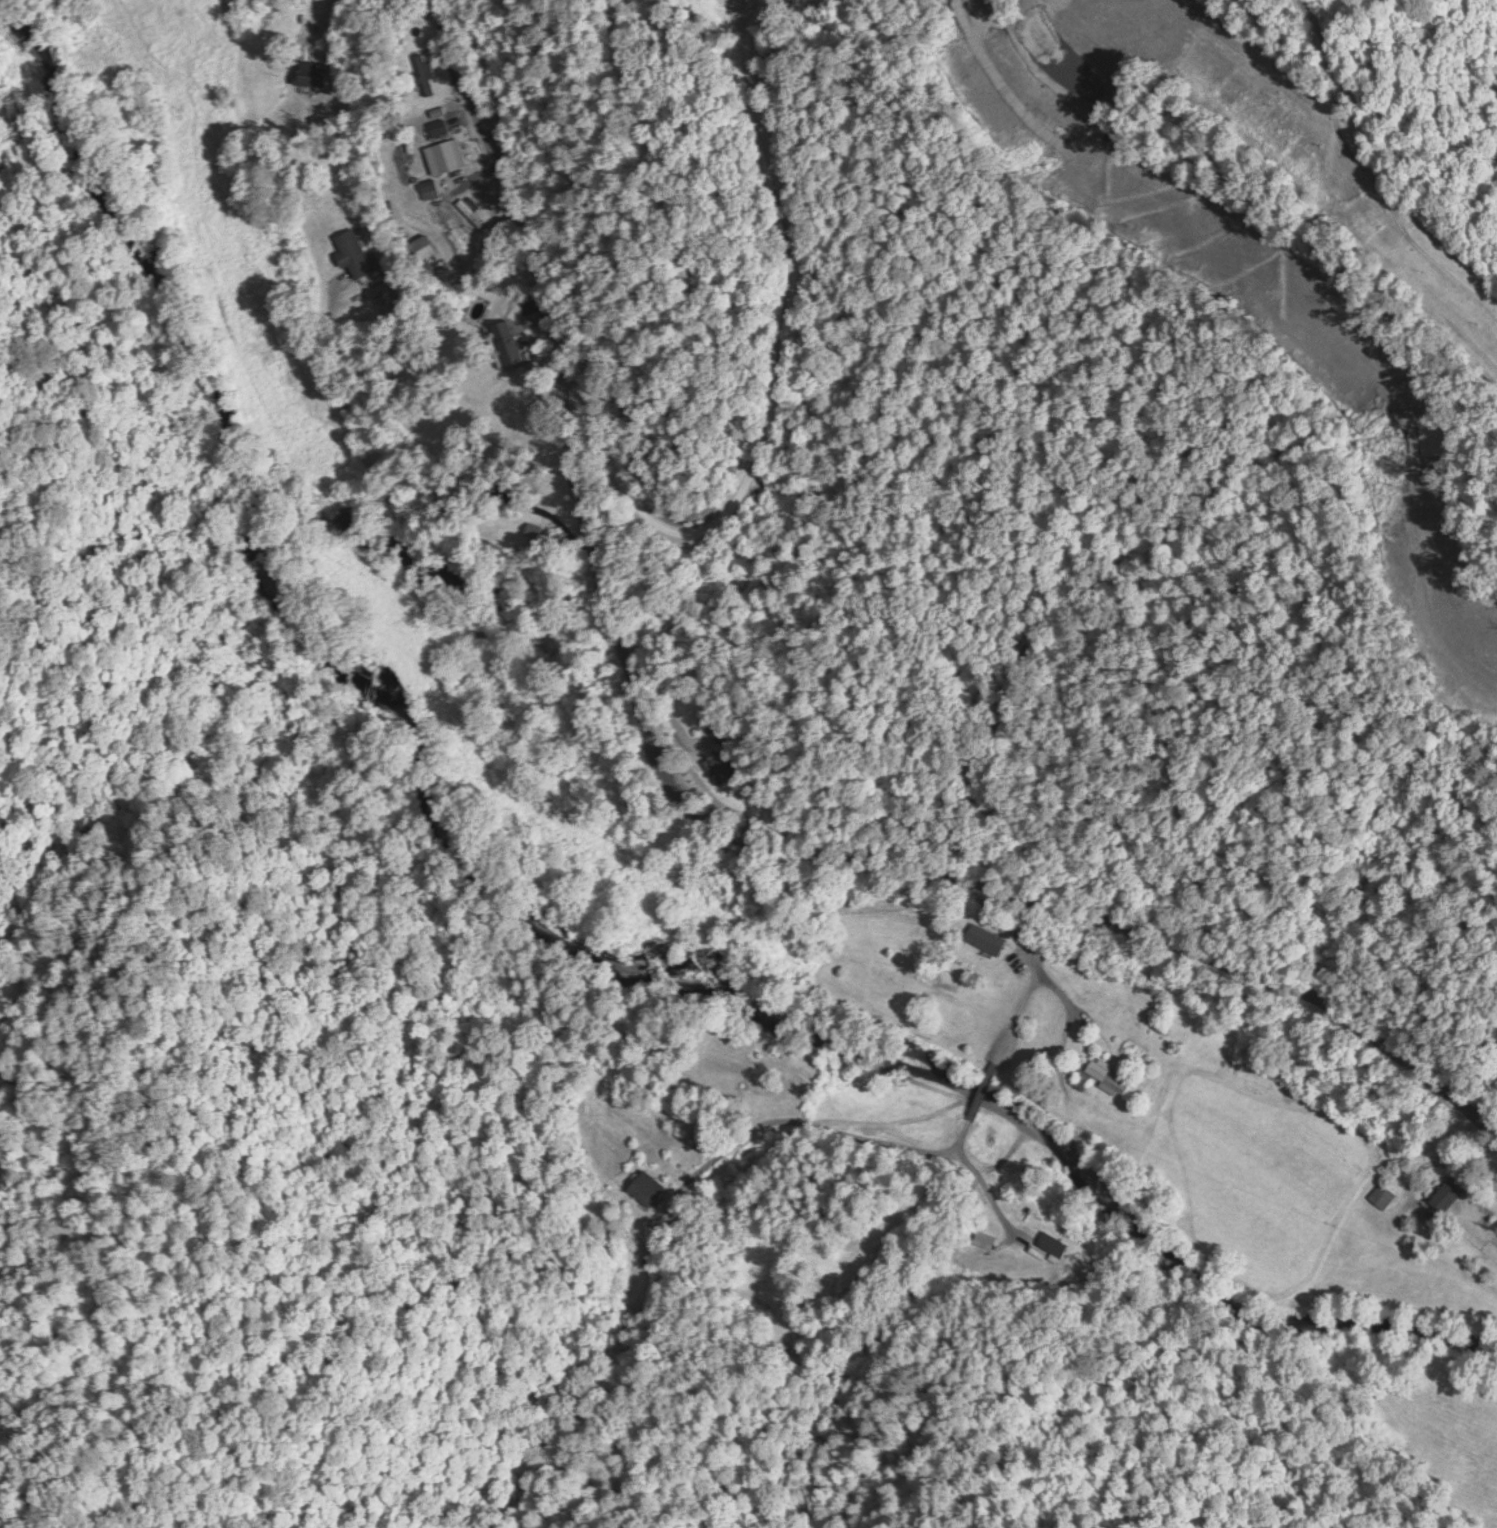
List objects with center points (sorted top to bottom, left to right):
building: (1019, 0)
building: (308, 73)
building: (422, 74)
building: (1087, 83)
building: (436, 127)
building: (445, 155)
building: (427, 188)
building: (420, 252)
building: (351, 253)
building: (506, 343)
building: (481, 629)
building: (719, 765)
road: (708, 814)
river: (571, 867)
building: (976, 928)
building: (1267, 1072)
building: (1103, 1075)
building: (643, 1186)
building: (1380, 1194)
building: (1441, 1196)
building: (1049, 1244)

